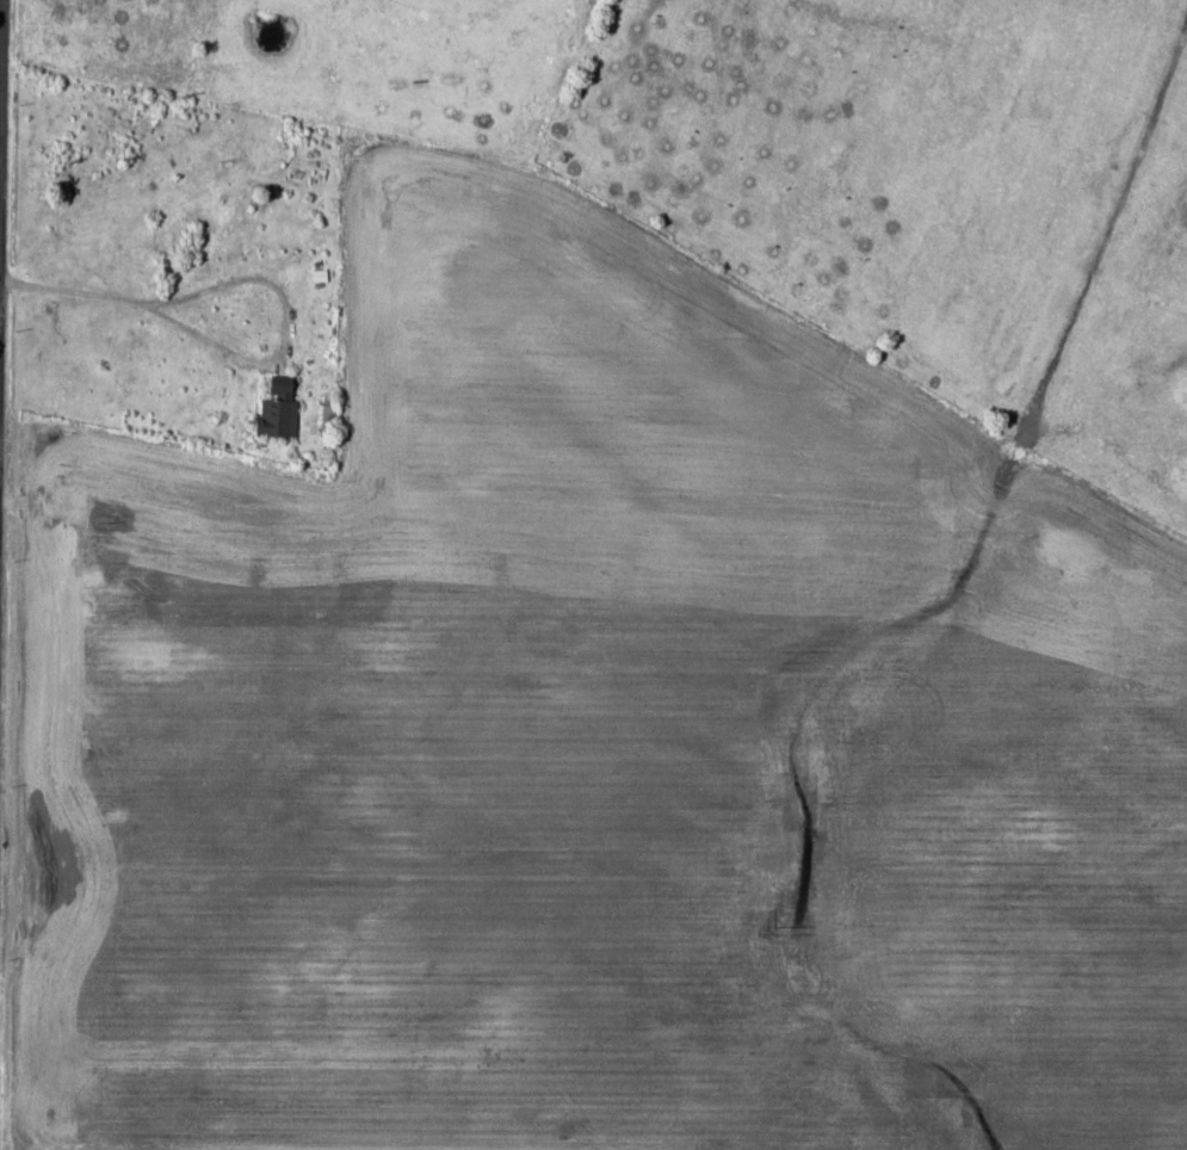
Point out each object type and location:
road: (2, 217)
building: (1185, 391)
building: (280, 416)
building: (1185, 478)

